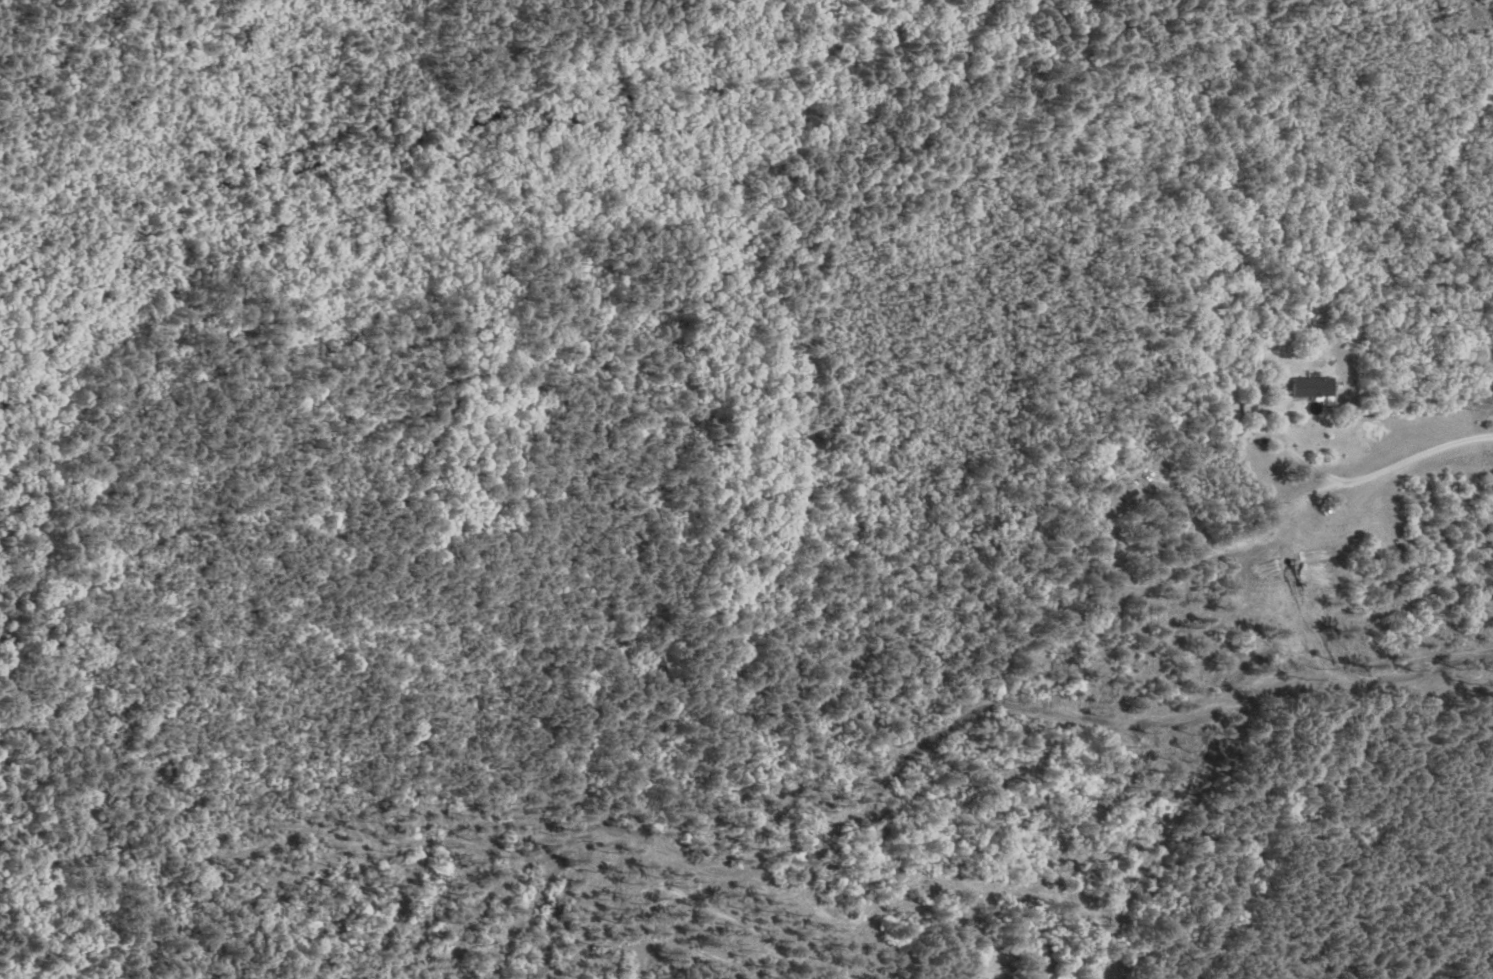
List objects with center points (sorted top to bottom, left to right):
building: (1309, 385)

